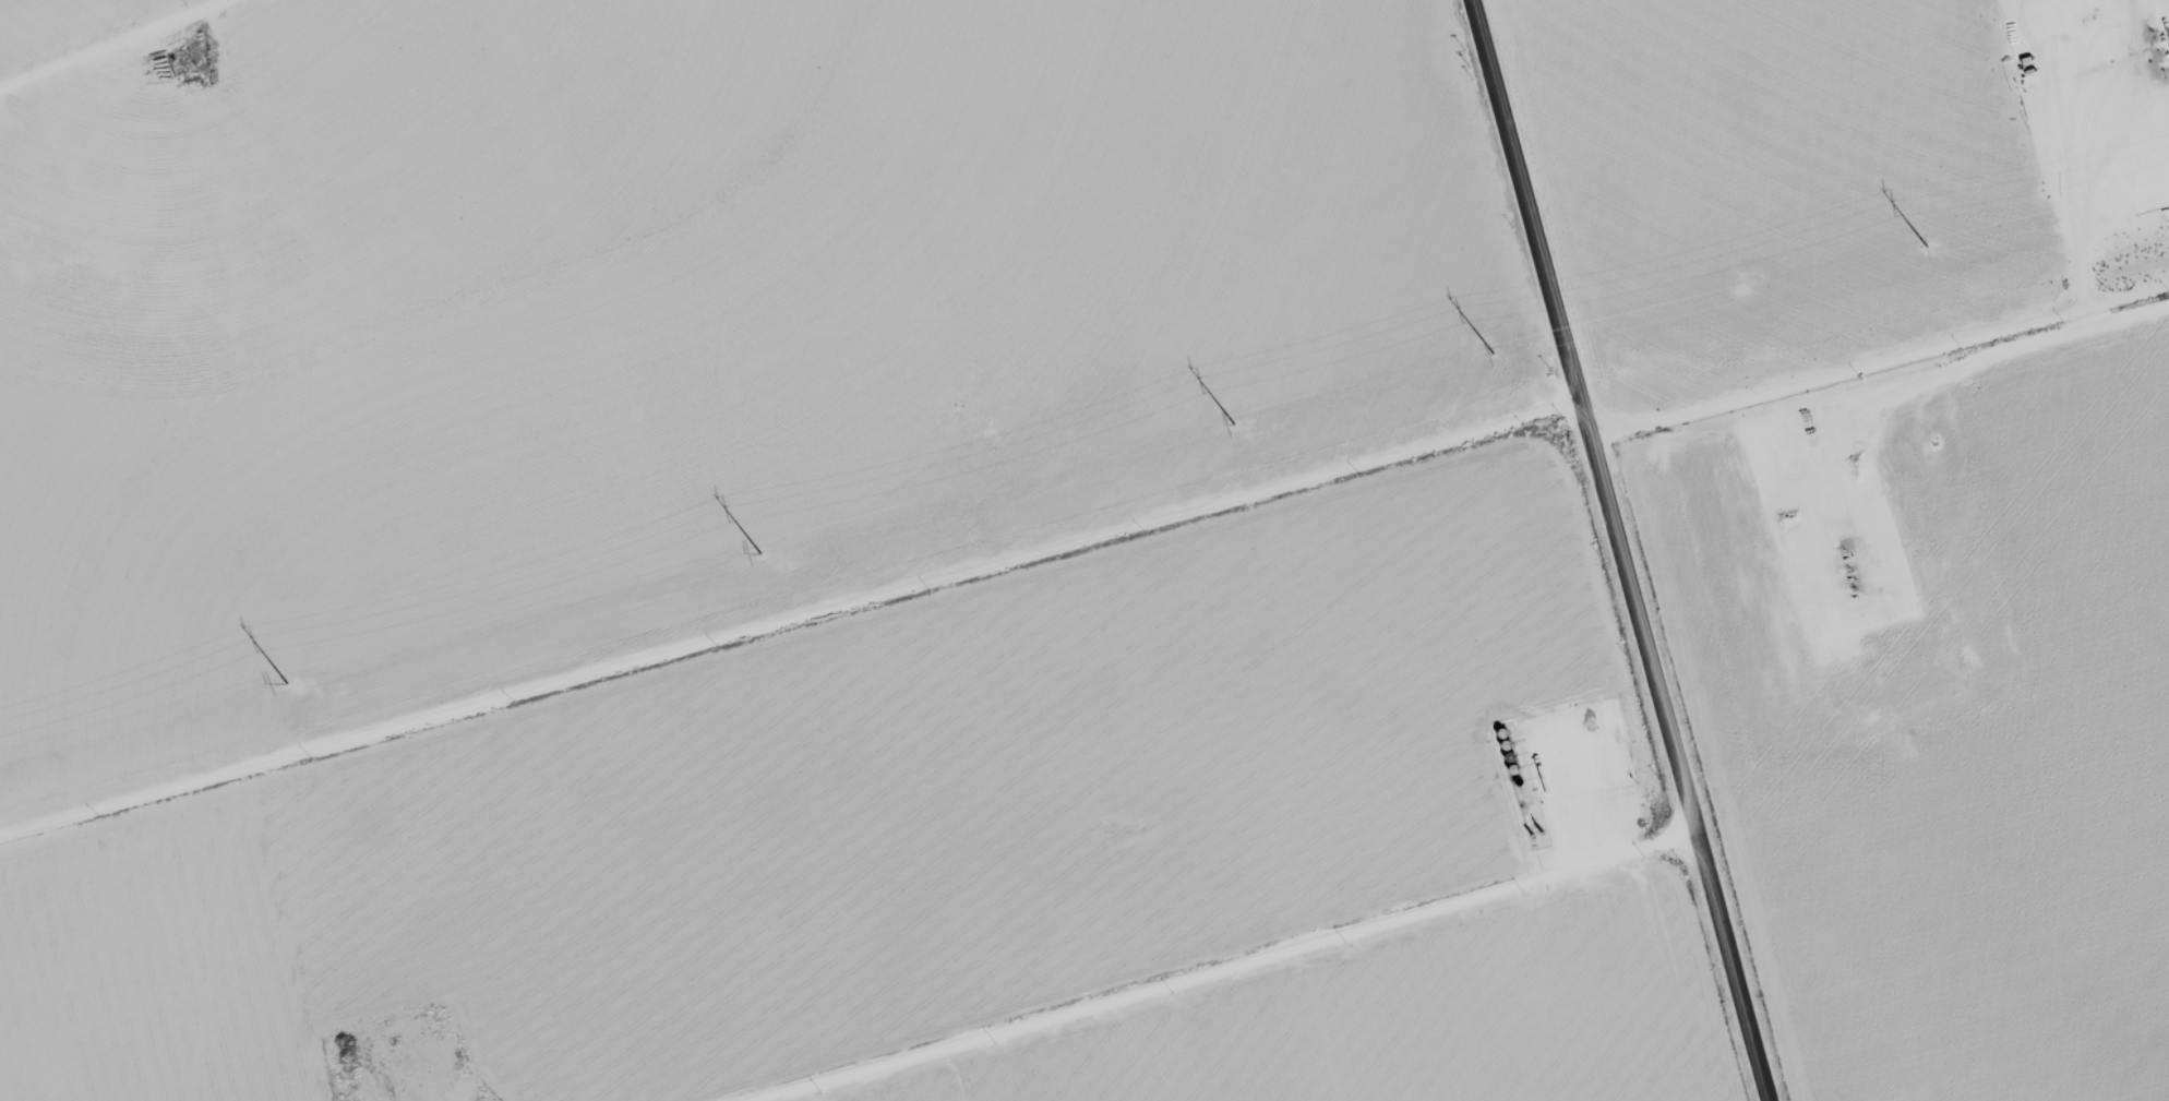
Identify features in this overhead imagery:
road: (287, 62)
road: (1530, 213)
power tower: (1928, 246)
power tower: (1494, 354)
power tower: (1233, 423)
power tower: (760, 554)
road: (791, 633)
power tower: (288, 682)
road: (1678, 764)

